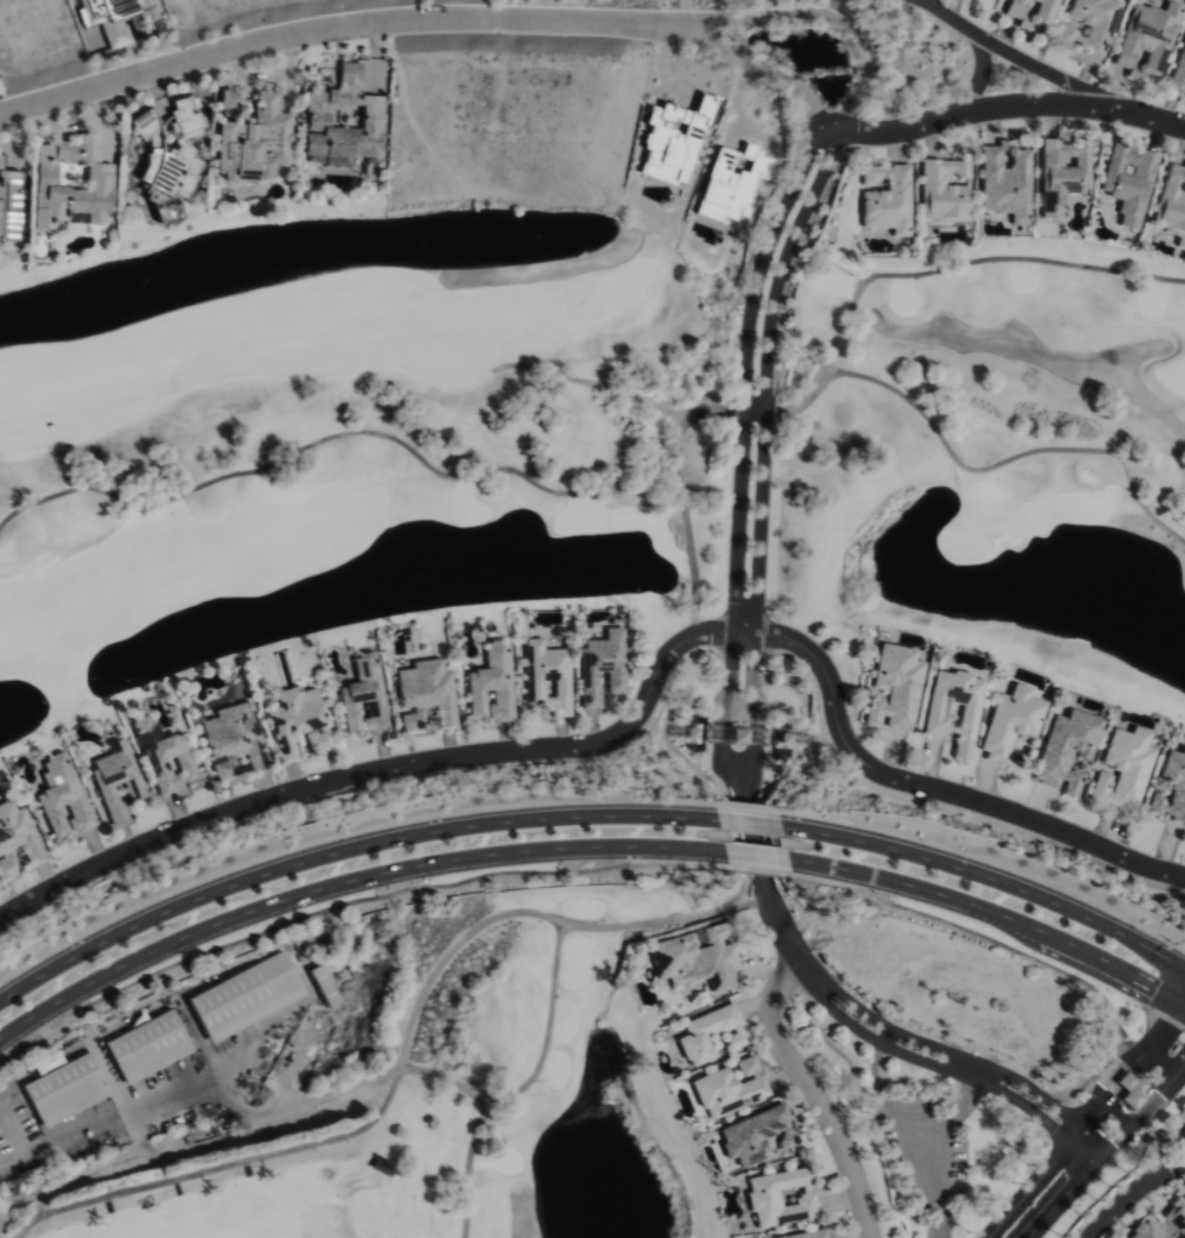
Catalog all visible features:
building: (1029, 12)
road: (779, 16)
building: (121, 18)
building: (1086, 24)
road: (327, 28)
building: (1143, 40)
road: (727, 55)
road: (1018, 59)
building: (1178, 67)
road: (979, 76)
building: (233, 96)
road: (852, 102)
road: (809, 107)
road: (1007, 107)
building: (228, 114)
building: (189, 119)
building: (345, 124)
building: (258, 141)
building: (672, 141)
building: (167, 168)
building: (1059, 173)
building: (1002, 182)
building: (74, 183)
building: (1126, 183)
building: (941, 191)
building: (885, 200)
building: (10, 204)
building: (1170, 205)
road: (765, 251)
road: (786, 256)
road: (742, 403)
road: (763, 403)
park: (550, 589)
road: (755, 607)
road: (731, 608)
building: (599, 665)
building: (544, 676)
building: (490, 683)
building: (893, 687)
building: (422, 693)
building: (361, 695)
road: (639, 709)
building: (954, 709)
building: (291, 717)
building: (1011, 721)
building: (735, 734)
building: (230, 738)
building: (316, 740)
building: (1065, 749)
building: (168, 762)
building: (1122, 768)
building: (115, 778)
building: (1172, 786)
building: (62, 797)
road: (745, 823)
building: (16, 837)
road: (340, 850)
road: (752, 859)
road: (989, 877)
road: (343, 884)
road: (762, 893)
road: (991, 912)
building: (693, 957)
building: (321, 984)
building: (241, 996)
building: (708, 1033)
building: (145, 1045)
road: (955, 1055)
road: (943, 1068)
building: (726, 1088)
building: (63, 1089)
building: (1129, 1089)
road: (813, 1095)
road: (120, 1107)
road: (1094, 1131)
building: (755, 1134)
road: (1129, 1193)
building: (778, 1198)
building: (1175, 1214)
building: (1145, 1231)
building: (806, 1234)

